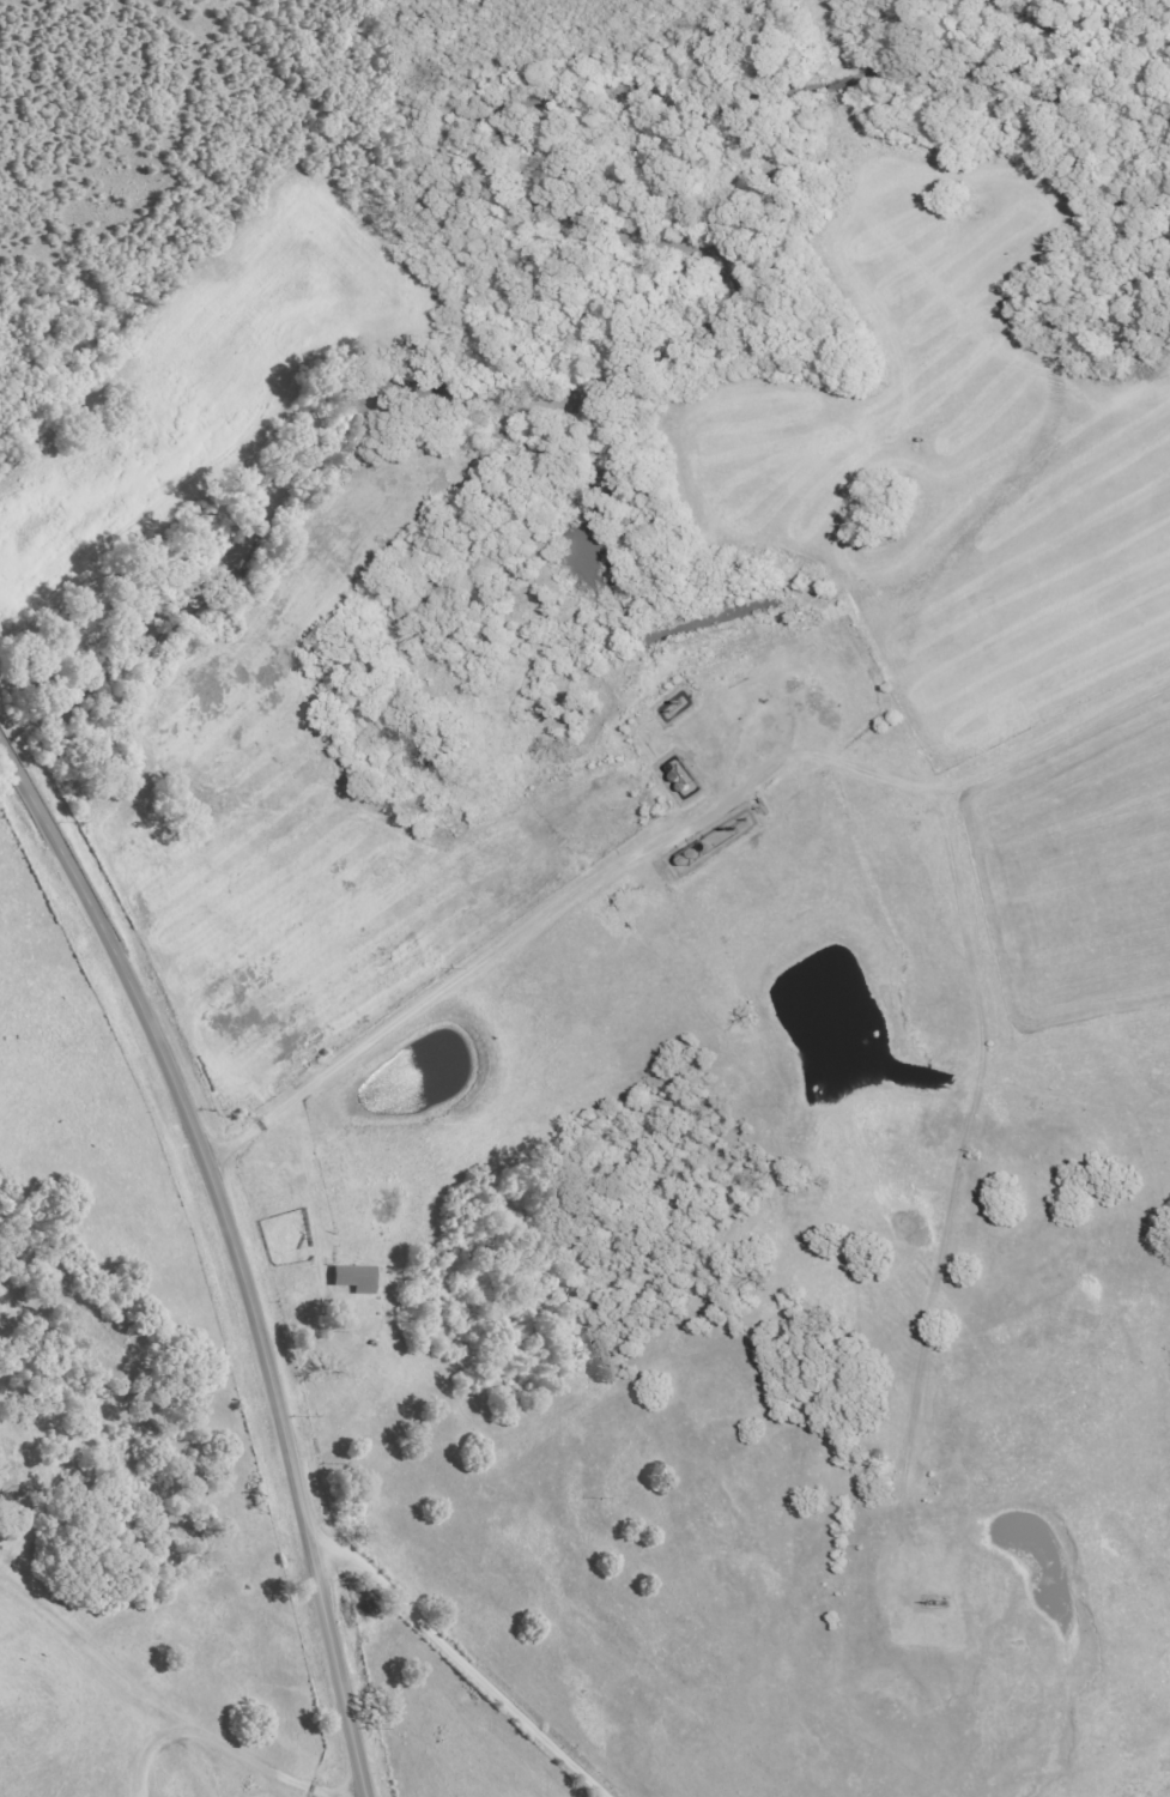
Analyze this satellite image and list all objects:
road: (237, 1251)
building: (353, 1277)
road: (836, 1478)
road: (462, 1662)

